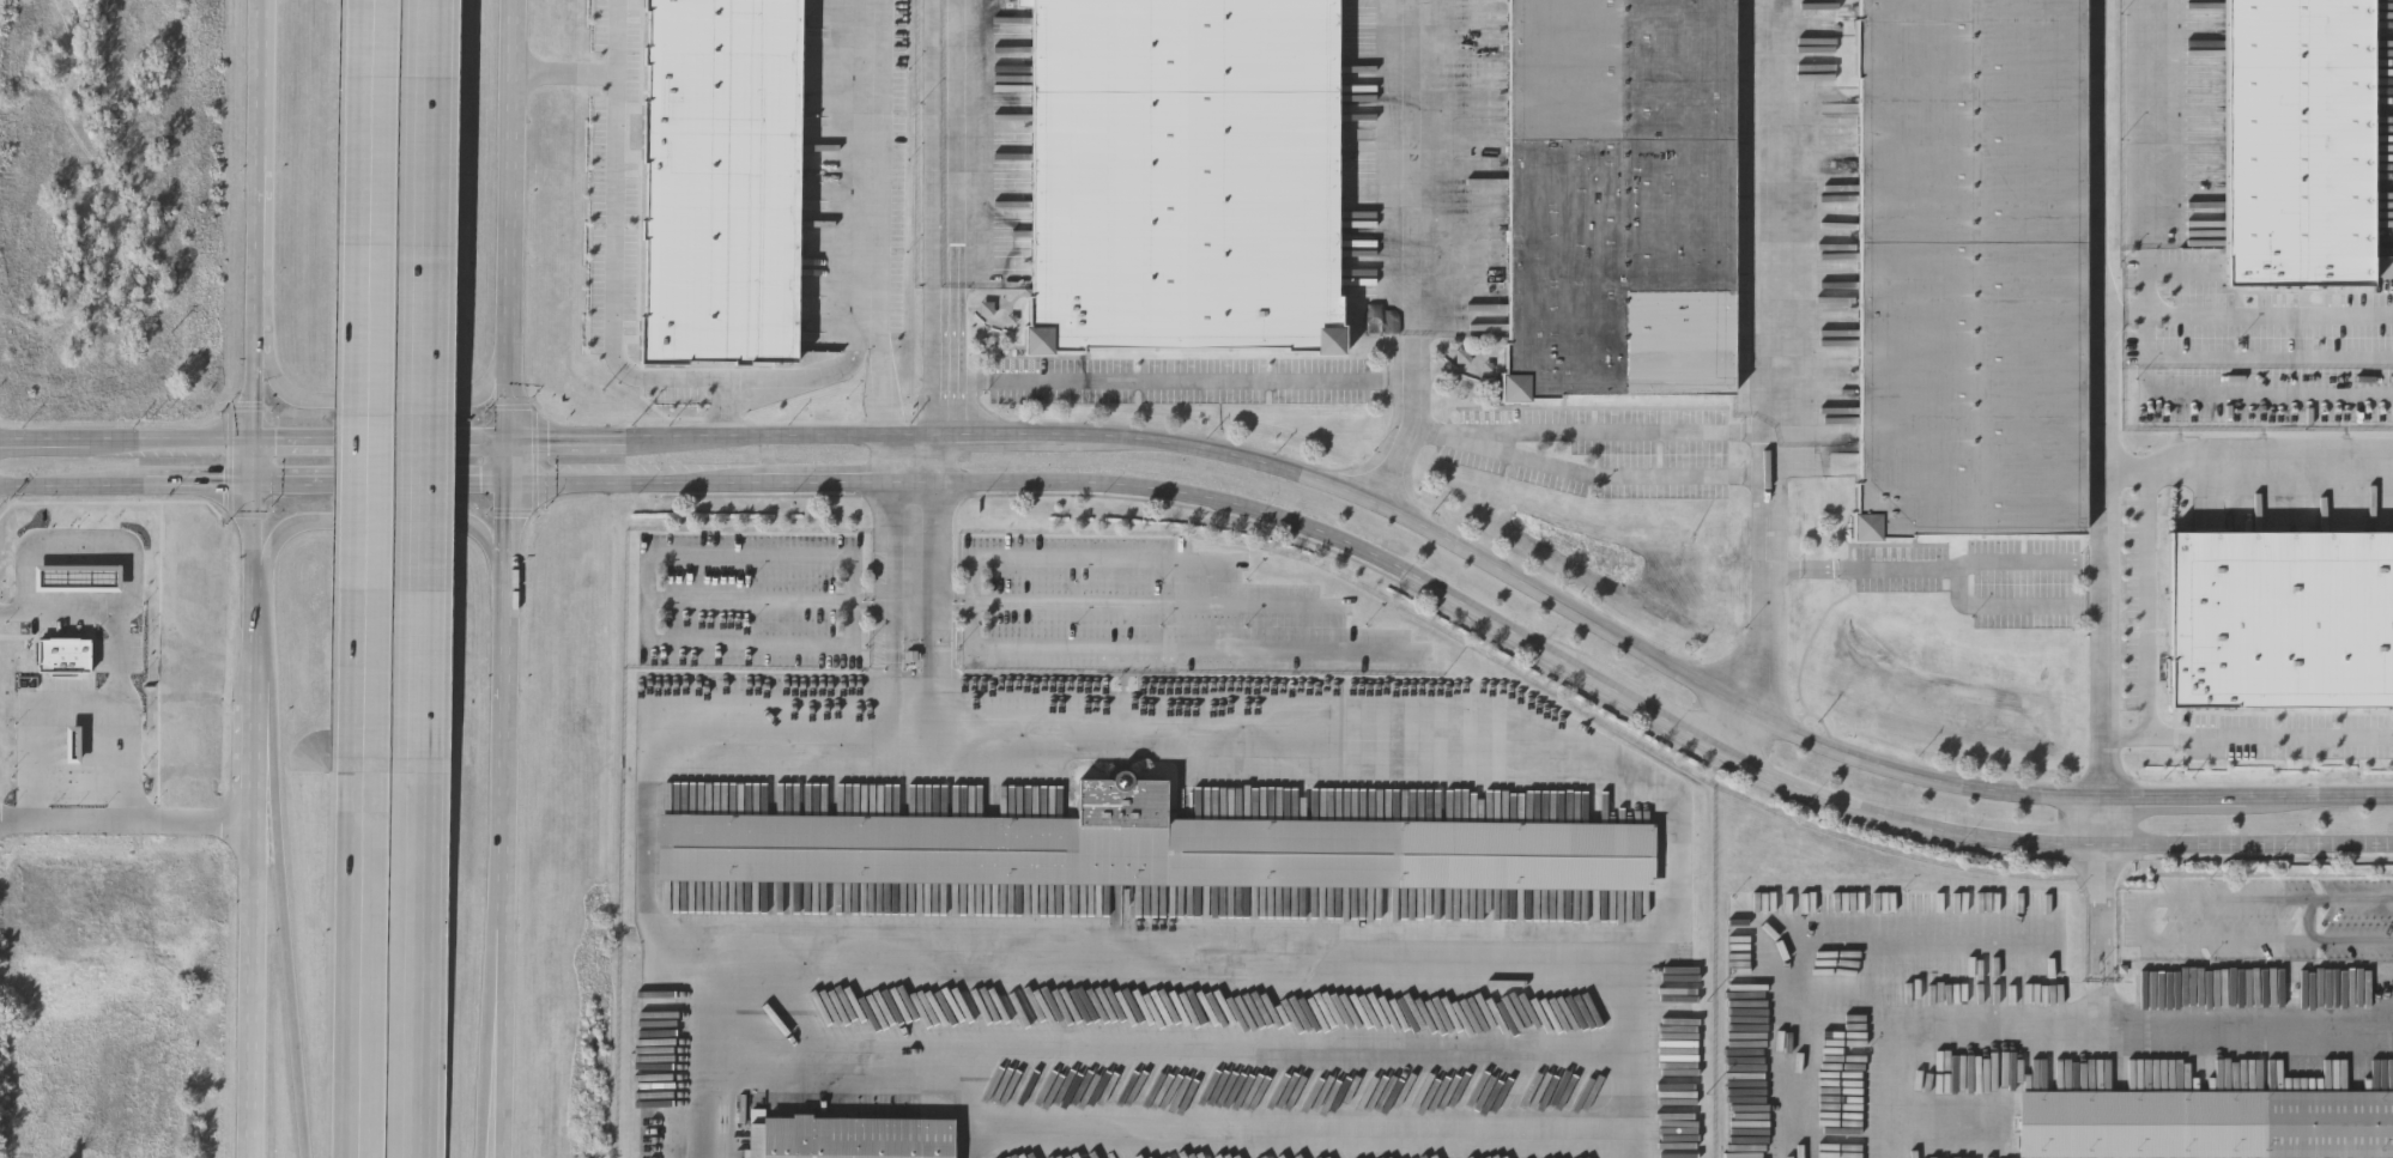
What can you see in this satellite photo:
road: (601, 75)
road: (263, 77)
building: (2297, 145)
road: (2146, 157)
building: (1186, 176)
building: (723, 181)
building: (1623, 200)
road: (262, 207)
road: (885, 222)
road: (509, 243)
road: (935, 248)
road: (1406, 257)
building: (1973, 269)
road: (614, 279)
road: (261, 305)
road: (2246, 314)
road: (781, 377)
road: (1764, 384)
road: (1171, 386)
road: (426, 387)
road: (371, 388)
road: (259, 398)
road: (2098, 401)
road: (384, 402)
road: (1586, 434)
traffic signals: (508, 443)
road: (382, 444)
road: (128, 445)
traffic signals: (258, 445)
road: (903, 468)
road: (2246, 469)
road: (1610, 475)
road: (137, 487)
road: (392, 487)
traffic signals: (508, 487)
traffic signals: (259, 489)
road: (631, 489)
road: (835, 492)
road: (381, 522)
road: (1270, 523)
road: (507, 528)
road: (89, 550)
road: (1467, 556)
road: (2010, 564)
road: (650, 598)
road: (855, 601)
road: (905, 601)
road: (1131, 602)
road: (2152, 604)
road: (54, 613)
building: (2280, 623)
road: (1029, 648)
road: (132, 704)
road: (1648, 716)
road: (501, 736)
road: (2248, 738)
road: (252, 801)
road: (1823, 804)
road: (126, 817)
road: (2097, 827)
road: (2022, 844)
road: (2244, 850)
building: (1155, 851)
road: (2146, 922)
road: (281, 938)
road: (2100, 940)
road: (1513, 952)
road: (412, 965)
road: (363, 966)
road: (2246, 1023)
road: (481, 1030)
road: (495, 1031)
road: (1964, 1039)
road: (717, 1051)
road: (1638, 1055)
building: (2324, 1124)
building: (852, 1139)

